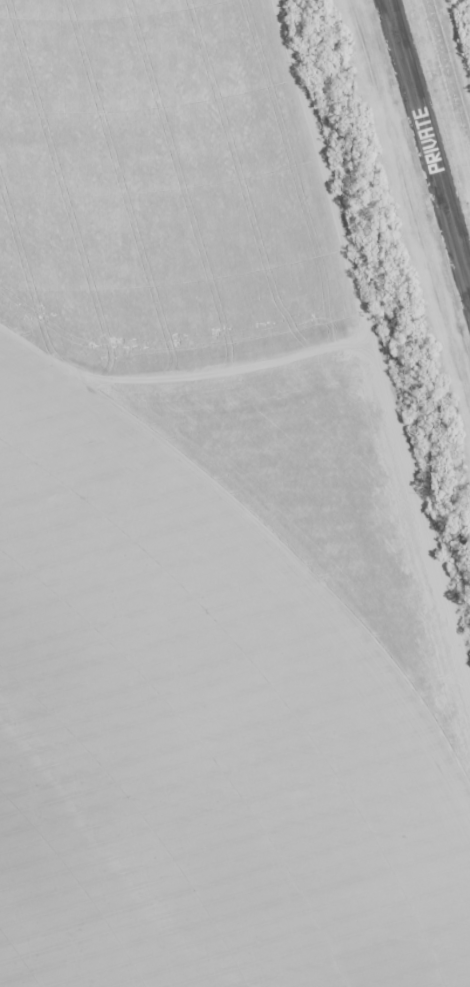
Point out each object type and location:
airport runway: (429, 142)

